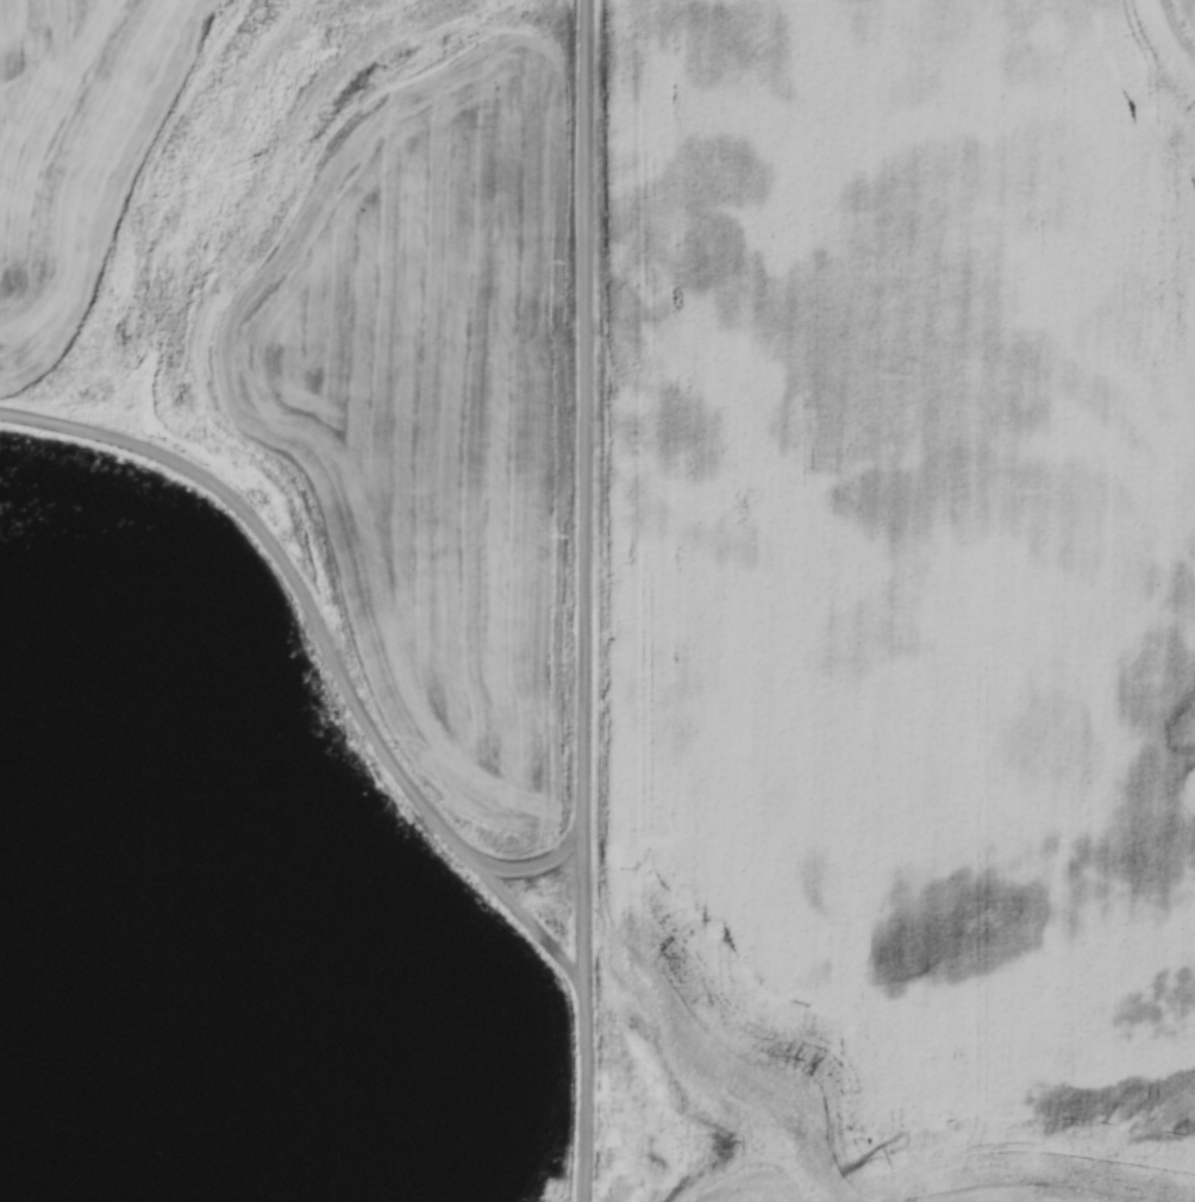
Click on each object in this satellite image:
road: (587, 601)
road: (327, 651)
road: (545, 876)

